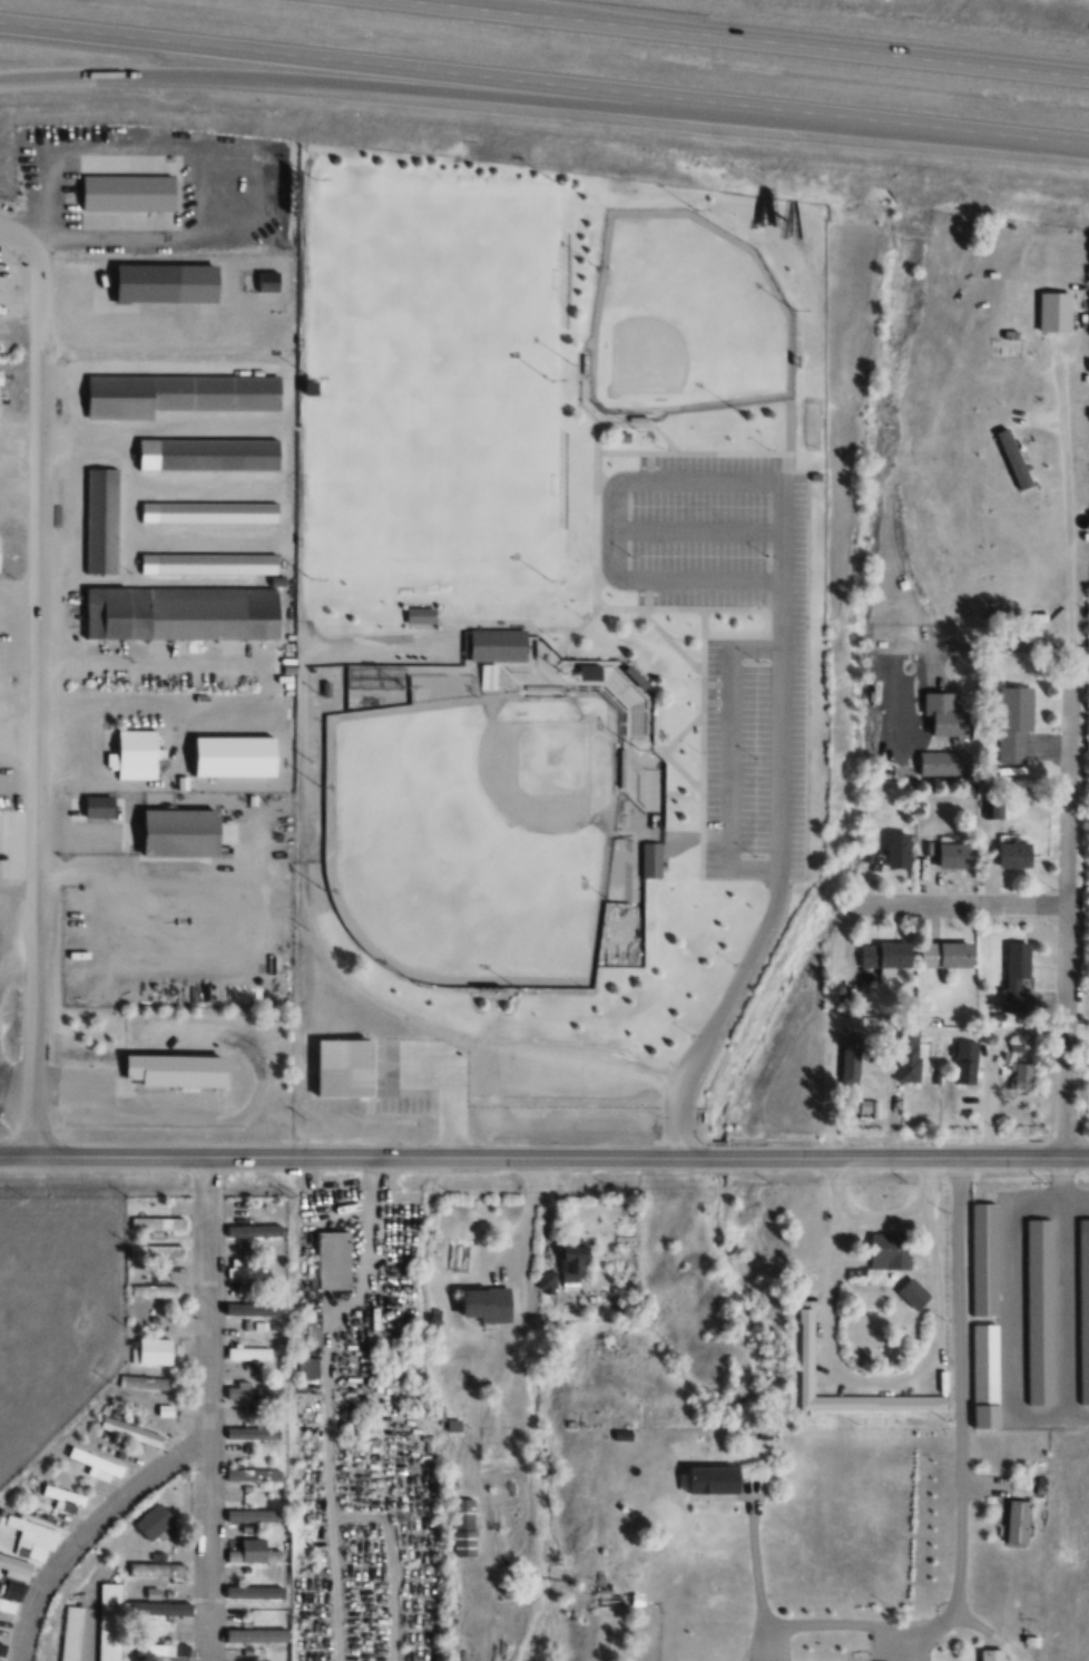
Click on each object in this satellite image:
road: (454, 3)
road: (744, 39)
road: (543, 87)
road: (436, 95)
building: (130, 193)
road: (84, 236)
park: (432, 275)
building: (167, 283)
park: (677, 322)
building: (1, 378)
building: (177, 393)
building: (218, 453)
road: (634, 453)
road: (728, 453)
park: (430, 479)
road: (1065, 486)
building: (217, 512)
road: (595, 516)
building: (101, 520)
road: (694, 529)
building: (0, 553)
building: (216, 564)
road: (699, 608)
road: (771, 609)
building: (184, 613)
road: (588, 613)
road: (779, 616)
building: (499, 644)
road: (982, 647)
road: (700, 662)
road: (36, 694)
building: (945, 713)
building: (1013, 721)
road: (699, 724)
building: (137, 753)
building: (235, 755)
road: (725, 758)
building: (944, 762)
road: (698, 800)
building: (992, 807)
park: (492, 811)
building: (183, 831)
building: (900, 849)
building: (954, 853)
building: (1016, 854)
building: (651, 859)
road: (1063, 886)
road: (958, 901)
road: (308, 929)
building: (946, 954)
building: (886, 956)
building: (1016, 976)
road: (828, 1027)
road: (945, 1029)
building: (907, 1054)
building: (850, 1061)
building: (968, 1062)
building: (179, 1068)
building: (337, 1072)
building: (1021, 1075)
road: (62, 1159)
road: (209, 1159)
road: (504, 1159)
road: (887, 1159)
road: (1075, 1159)
road: (1060, 1179)
road: (881, 1217)
building: (158, 1223)
building: (251, 1229)
building: (887, 1249)
building: (157, 1251)
building: (983, 1258)
building: (334, 1259)
building: (573, 1260)
building: (245, 1268)
building: (236, 1288)
building: (155, 1291)
building: (913, 1291)
building: (488, 1303)
road: (1010, 1303)
road: (1061, 1305)
building: (1083, 1305)
building: (252, 1309)
building: (1038, 1309)
building: (310, 1335)
building: (805, 1349)
building: (156, 1350)
building: (249, 1352)
building: (307, 1371)
building: (982, 1374)
road: (874, 1378)
building: (146, 1381)
building: (255, 1390)
road: (327, 1400)
building: (163, 1408)
road: (200, 1409)
building: (130, 1430)
building: (254, 1433)
building: (95, 1460)
building: (249, 1474)
building: (715, 1478)
road: (959, 1484)
building: (65, 1497)
building: (254, 1515)
building: (1018, 1521)
building: (154, 1522)
building: (463, 1526)
road: (84, 1531)
building: (31, 1538)
building: (253, 1552)
road: (391, 1560)
road: (753, 1560)
building: (16, 1564)
building: (161, 1570)
building: (249, 1592)
building: (11, 1598)
building: (164, 1610)
building: (254, 1636)
building: (2, 1649)
building: (163, 1650)
building: (993, 1655)

